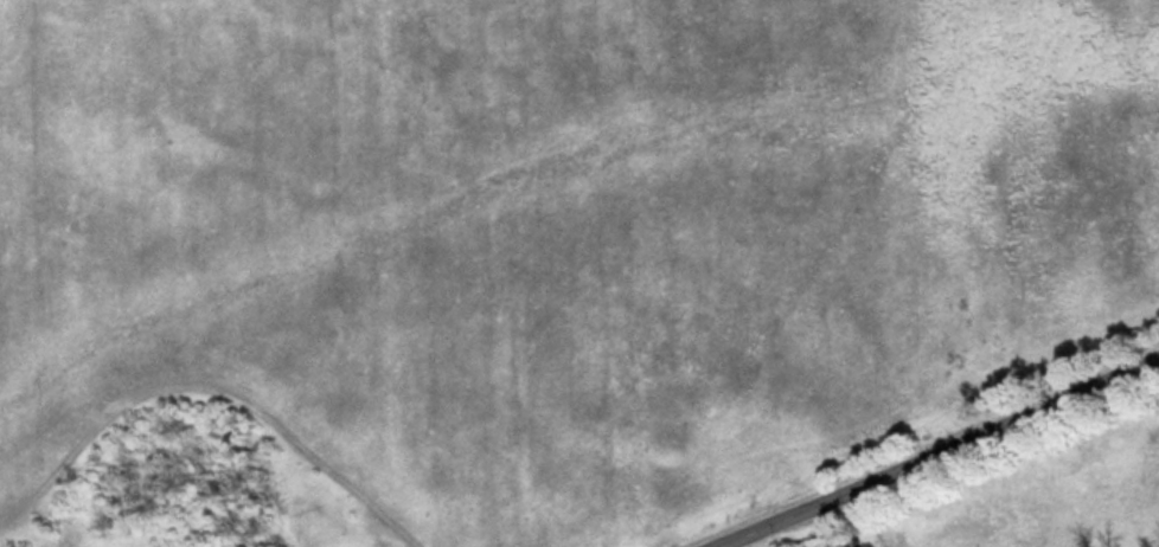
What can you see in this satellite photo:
road: (935, 451)

